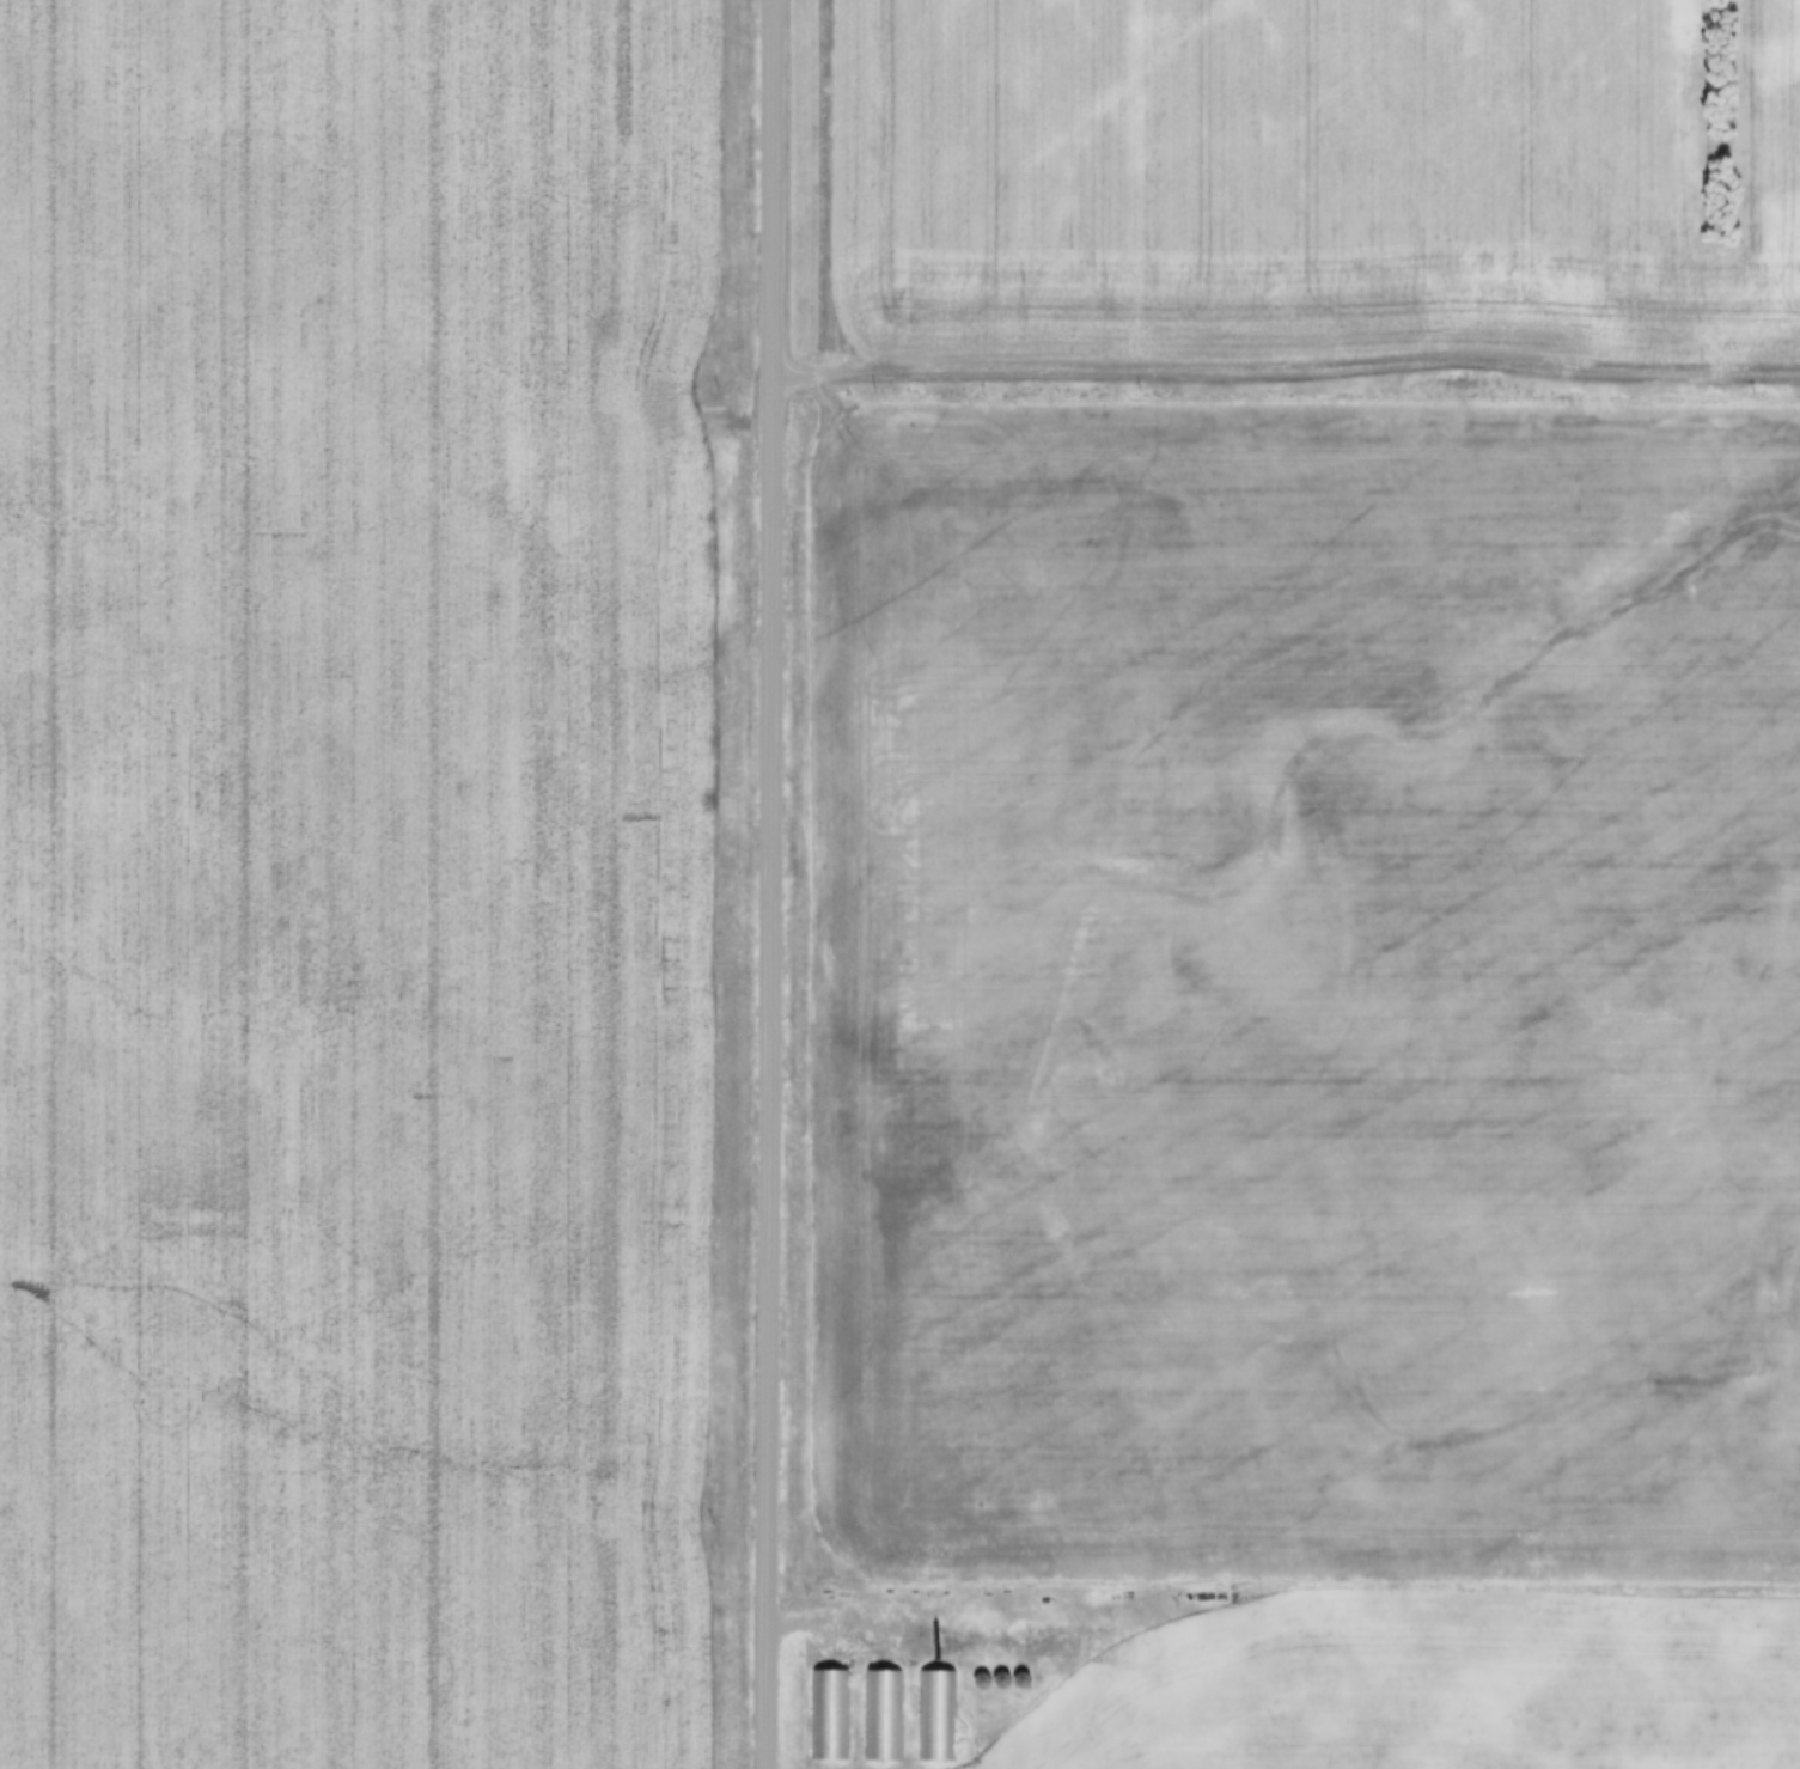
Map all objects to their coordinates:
road: (1285, 361)
road: (769, 884)
road: (853, 1629)
building: (1026, 1670)
silo: (1026, 1670)
building: (986, 1671)
silo: (986, 1671)
building: (1006, 1671)
silo: (1006, 1671)
building: (1014, 1683)
building: (835, 1707)
building: (889, 1707)
building: (941, 1707)

